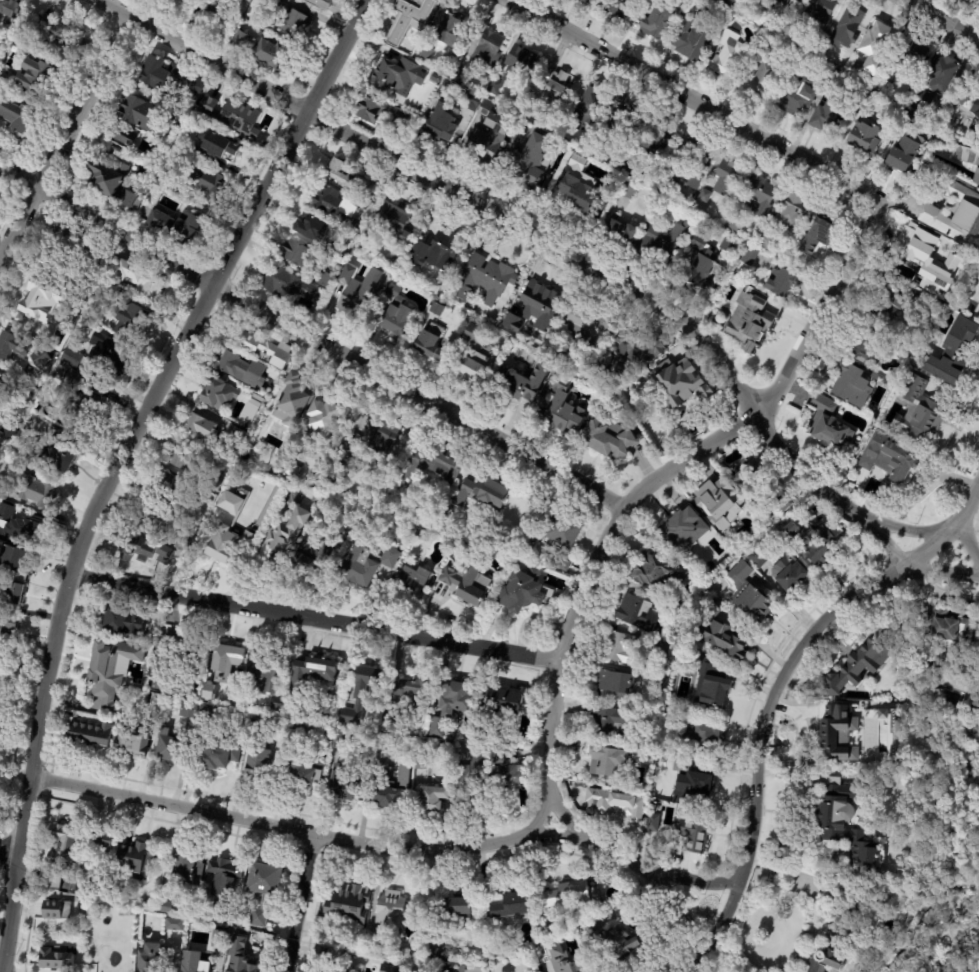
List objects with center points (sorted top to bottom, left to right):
building: (181, 0)
building: (958, 0)
building: (975, 0)
building: (586, 1)
building: (783, 1)
building: (797, 1)
building: (967, 1)
building: (970, 1)
building: (729, 2)
building: (320, 4)
building: (773, 4)
building: (10, 7)
building: (619, 8)
building: (217, 9)
building: (818, 11)
building: (410, 17)
building: (658, 19)
building: (287, 20)
road: (941, 20)
building: (847, 25)
building: (450, 27)
building: (51, 31)
building: (691, 42)
building: (815, 42)
building: (768, 43)
building: (876, 47)
building: (488, 48)
building: (263, 51)
building: (424, 53)
building: (727, 53)
building: (911, 55)
building: (859, 56)
building: (443, 65)
building: (515, 67)
building: (36, 74)
building: (460, 76)
building: (166, 77)
building: (395, 77)
building: (436, 79)
building: (761, 79)
building: (887, 79)
building: (936, 81)
building: (552, 87)
building: (963, 94)
building: (798, 96)
building: (873, 97)
building: (470, 101)
road: (696, 101)
building: (977, 106)
building: (588, 108)
building: (377, 111)
building: (231, 114)
building: (15, 116)
building: (827, 116)
building: (175, 117)
building: (132, 120)
building: (906, 121)
building: (629, 122)
building: (408, 123)
building: (439, 124)
building: (864, 135)
road: (66, 136)
building: (487, 137)
building: (658, 140)
building: (585, 144)
building: (189, 145)
building: (599, 149)
building: (225, 151)
building: (905, 153)
building: (968, 158)
building: (695, 161)
building: (631, 168)
building: (527, 169)
building: (338, 171)
building: (728, 179)
building: (161, 181)
building: (205, 182)
building: (666, 183)
building: (112, 184)
building: (359, 184)
building: (581, 187)
building: (629, 189)
building: (704, 196)
building: (760, 196)
building: (333, 202)
building: (792, 215)
building: (956, 215)
building: (734, 220)
building: (392, 223)
road: (508, 225)
building: (176, 227)
building: (311, 229)
building: (622, 230)
building: (63, 233)
building: (818, 234)
building: (766, 240)
building: (660, 243)
building: (434, 249)
building: (338, 251)
building: (295, 253)
building: (749, 257)
building: (928, 261)
building: (337, 263)
building: (703, 263)
building: (484, 277)
building: (138, 280)
building: (323, 280)
building: (781, 283)
building: (287, 285)
building: (357, 288)
building: (41, 301)
building: (895, 303)
building: (540, 306)
building: (436, 307)
building: (394, 311)
building: (749, 320)
building: (131, 321)
building: (511, 325)
building: (583, 326)
road: (310, 337)
building: (428, 340)
building: (899, 346)
building: (12, 347)
building: (868, 347)
building: (263, 349)
building: (637, 349)
building: (471, 353)
building: (947, 353)
building: (106, 356)
building: (70, 357)
building: (40, 358)
building: (241, 370)
building: (875, 376)
building: (73, 378)
building: (681, 382)
building: (520, 384)
building: (851, 385)
building: (4, 387)
building: (215, 395)
building: (288, 400)
building: (77, 409)
building: (250, 409)
building: (562, 409)
building: (920, 410)
building: (325, 418)
building: (200, 425)
building: (828, 425)
building: (266, 428)
building: (7, 434)
building: (380, 439)
building: (608, 439)
building: (59, 453)
building: (341, 457)
road: (116, 459)
building: (178, 459)
building: (891, 459)
building: (432, 461)
building: (289, 471)
building: (209, 474)
road: (673, 475)
building: (754, 479)
building: (1, 486)
building: (34, 490)
building: (175, 493)
building: (482, 494)
building: (718, 504)
building: (784, 504)
building: (356, 518)
building: (152, 519)
building: (683, 525)
building: (18, 526)
building: (230, 528)
road: (908, 530)
building: (423, 534)
building: (561, 534)
building: (184, 540)
building: (282, 540)
road: (881, 542)
building: (809, 543)
road: (966, 544)
building: (136, 549)
building: (312, 551)
building: (162, 555)
building: (758, 558)
building: (14, 562)
building: (560, 564)
building: (366, 565)
road: (939, 573)
building: (659, 574)
building: (788, 574)
building: (412, 579)
building: (465, 584)
building: (522, 589)
building: (13, 593)
building: (749, 595)
building: (673, 608)
building: (712, 609)
building: (640, 615)
road: (317, 616)
building: (121, 620)
building: (6, 624)
building: (948, 631)
building: (725, 640)
building: (620, 649)
building: (661, 650)
building: (225, 660)
building: (172, 662)
building: (860, 664)
building: (109, 665)
building: (265, 669)
building: (310, 673)
building: (660, 681)
building: (614, 683)
building: (713, 686)
building: (208, 690)
road: (775, 690)
building: (362, 693)
building: (407, 696)
building: (454, 698)
building: (505, 699)
building: (156, 702)
building: (974, 707)
building: (277, 708)
building: (604, 720)
building: (439, 728)
building: (302, 729)
building: (90, 731)
building: (836, 733)
building: (695, 734)
building: (344, 737)
building: (132, 741)
building: (168, 744)
building: (384, 745)
building: (213, 755)
building: (499, 755)
building: (606, 760)
building: (419, 762)
building: (256, 765)
building: (681, 765)
building: (477, 766)
building: (303, 772)
building: (507, 774)
building: (381, 778)
building: (340, 782)
building: (696, 788)
building: (462, 791)
building: (431, 797)
building: (616, 803)
road: (538, 814)
road: (563, 819)
building: (653, 820)
building: (844, 828)
building: (694, 830)
building: (103, 841)
building: (64, 845)
road: (384, 847)
road: (9, 856)
building: (132, 858)
building: (182, 866)
road: (780, 868)
building: (223, 875)
building: (52, 880)
building: (86, 880)
building: (846, 881)
building: (263, 888)
building: (572, 895)
road: (301, 902)
building: (347, 904)
building: (510, 905)
building: (164, 907)
building: (391, 909)
building: (56, 910)
building: (456, 911)
building: (853, 913)
building: (73, 916)
building: (173, 924)
building: (218, 932)
building: (618, 941)
building: (375, 949)
building: (828, 954)
building: (437, 955)
building: (320, 956)
building: (55, 957)
building: (109, 957)
building: (241, 957)
building: (563, 960)
building: (150, 962)
building: (197, 964)
park: (971, 966)
road: (2, 968)
building: (388, 968)
building: (452, 968)
building: (515, 968)
building: (332, 969)
building: (350, 971)

